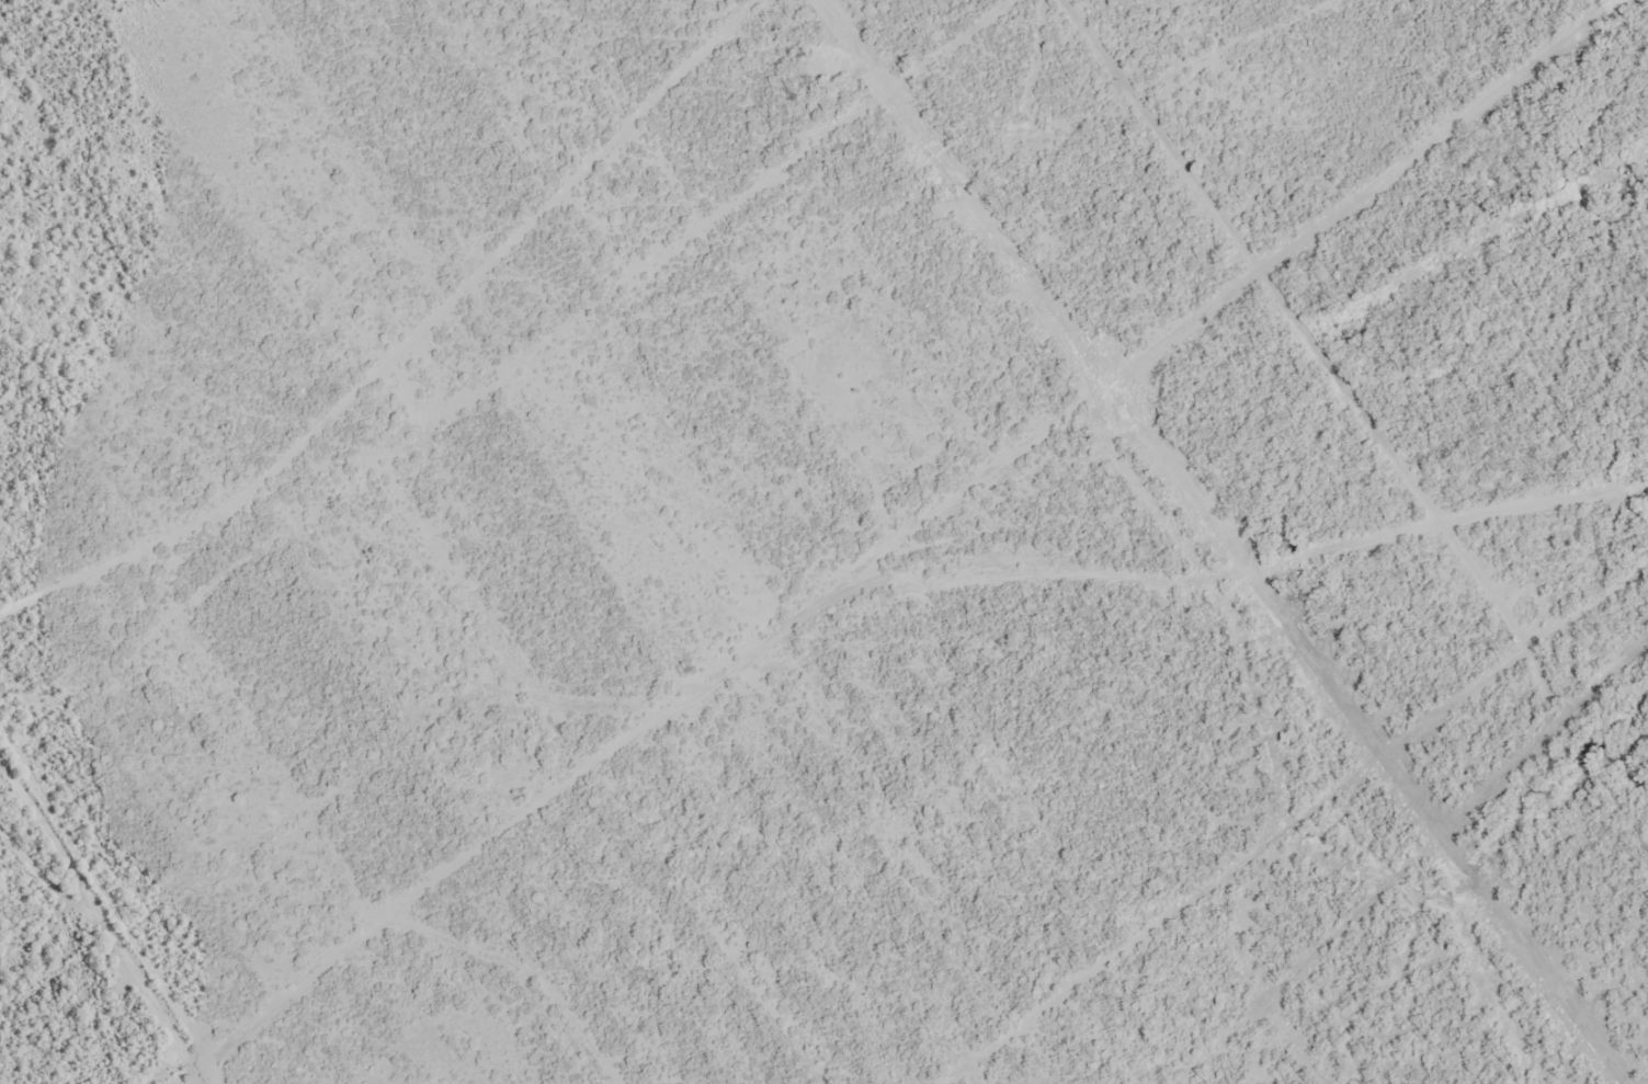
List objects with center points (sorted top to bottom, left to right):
road: (798, 647)

